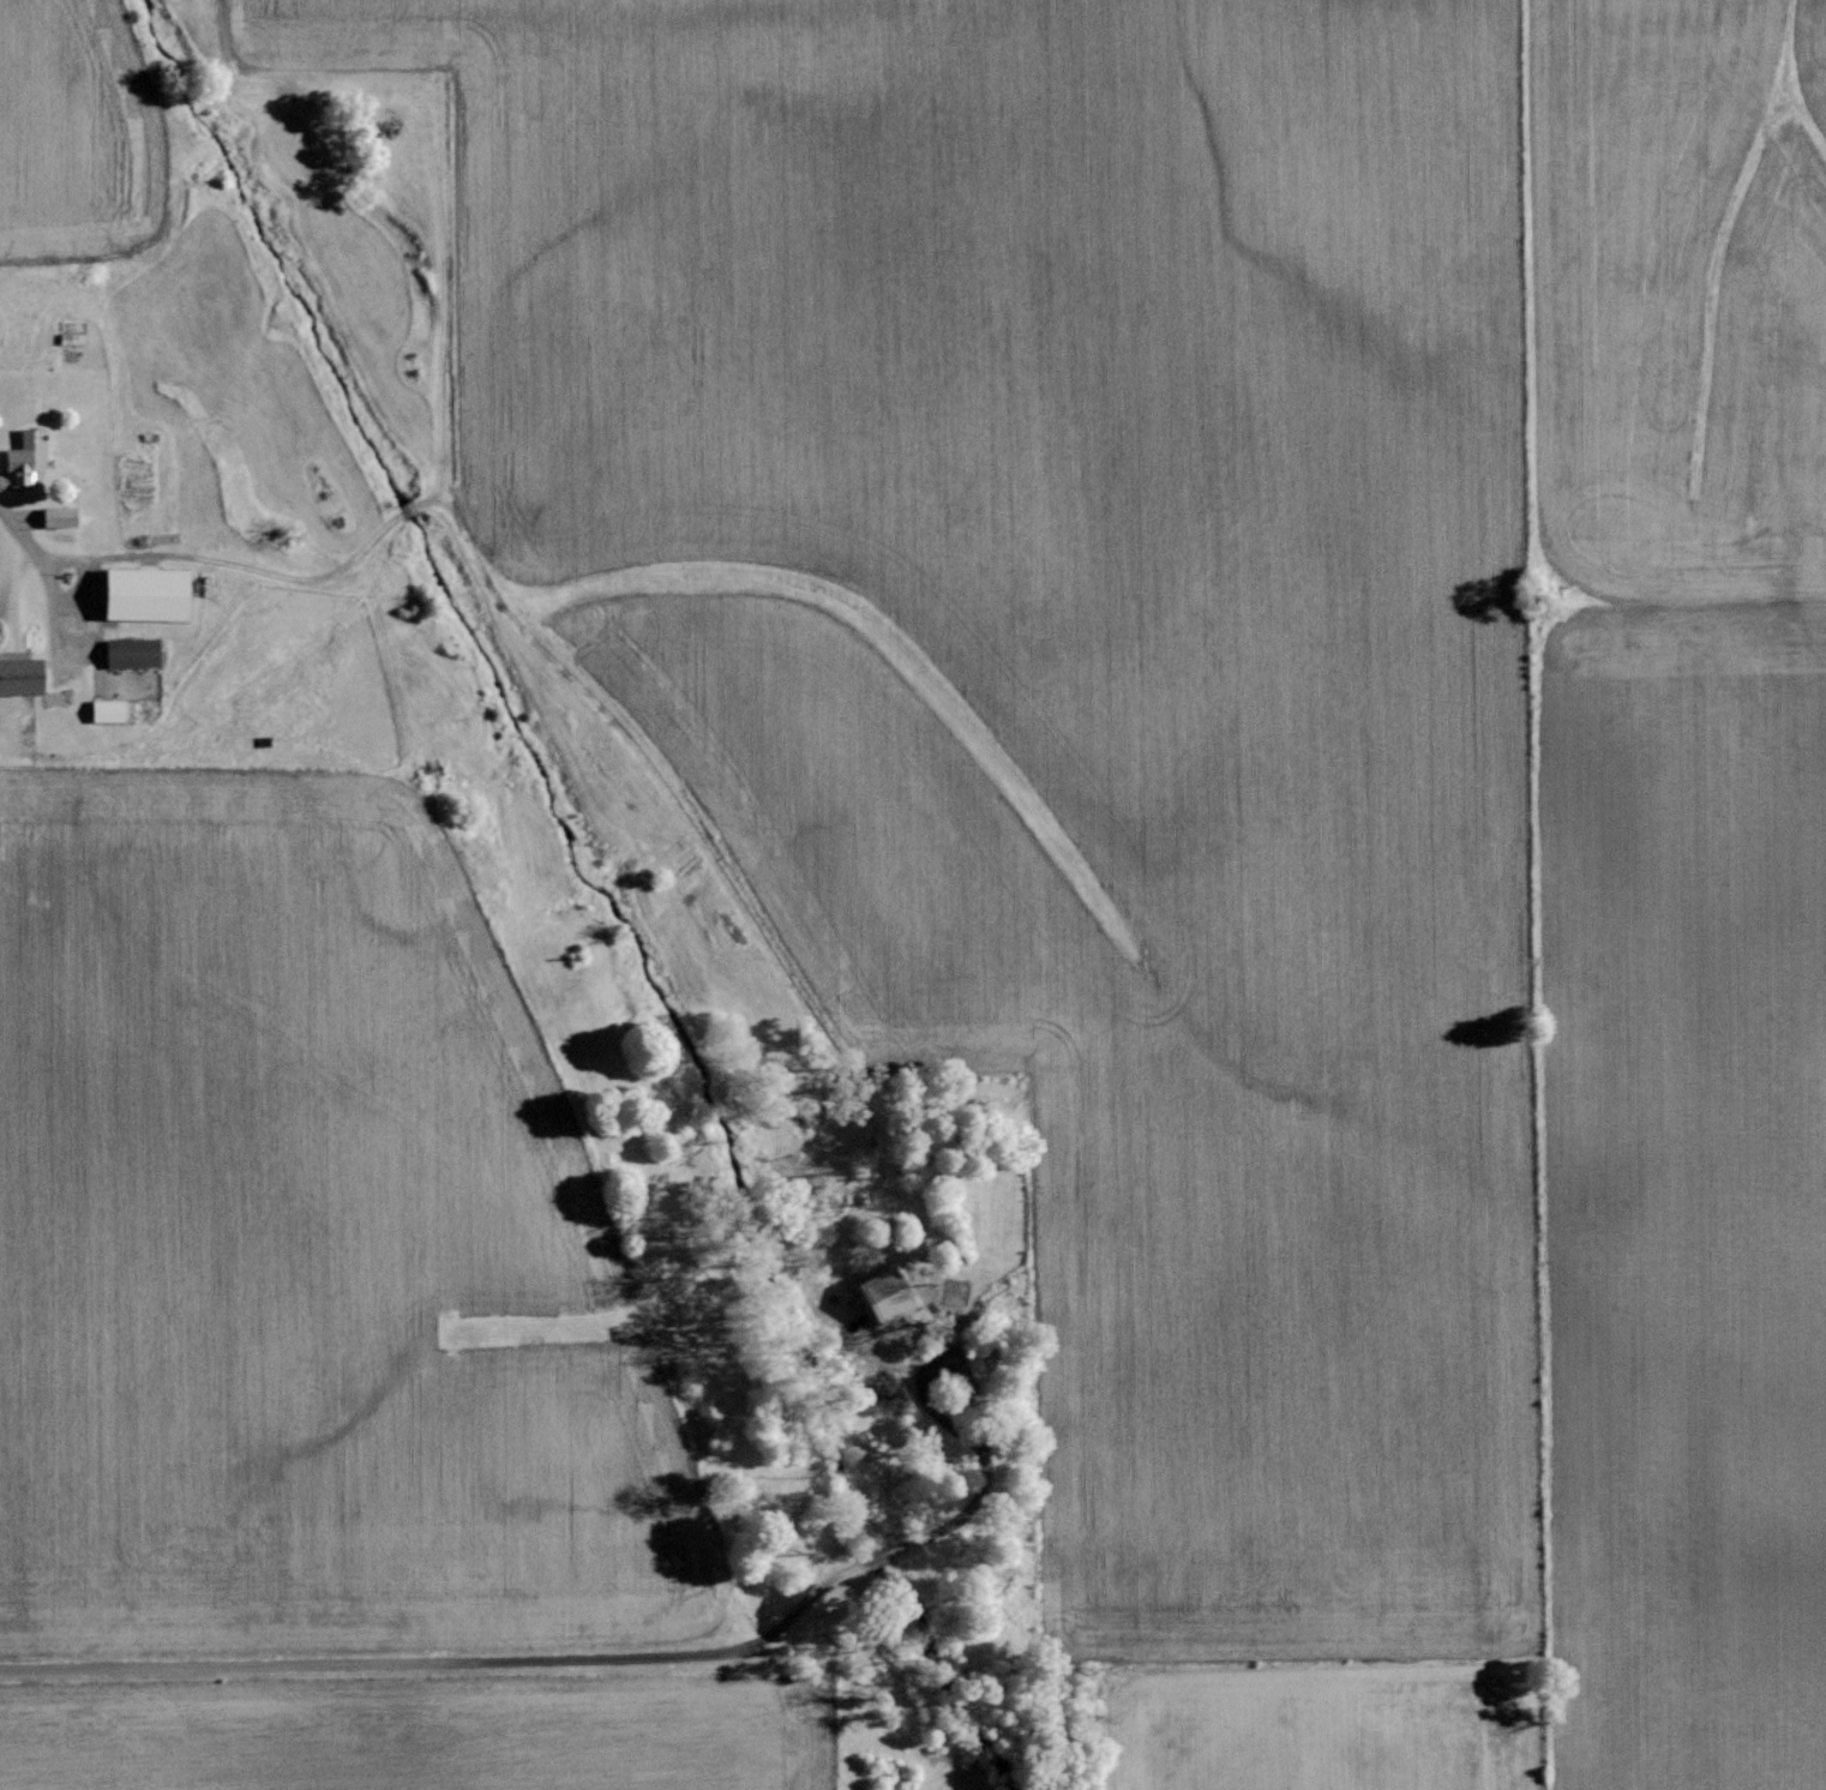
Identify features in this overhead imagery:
building: (25, 461)
road: (36, 557)
building: (144, 593)
building: (131, 651)
building: (18, 673)
building: (107, 710)
building: (883, 1295)

